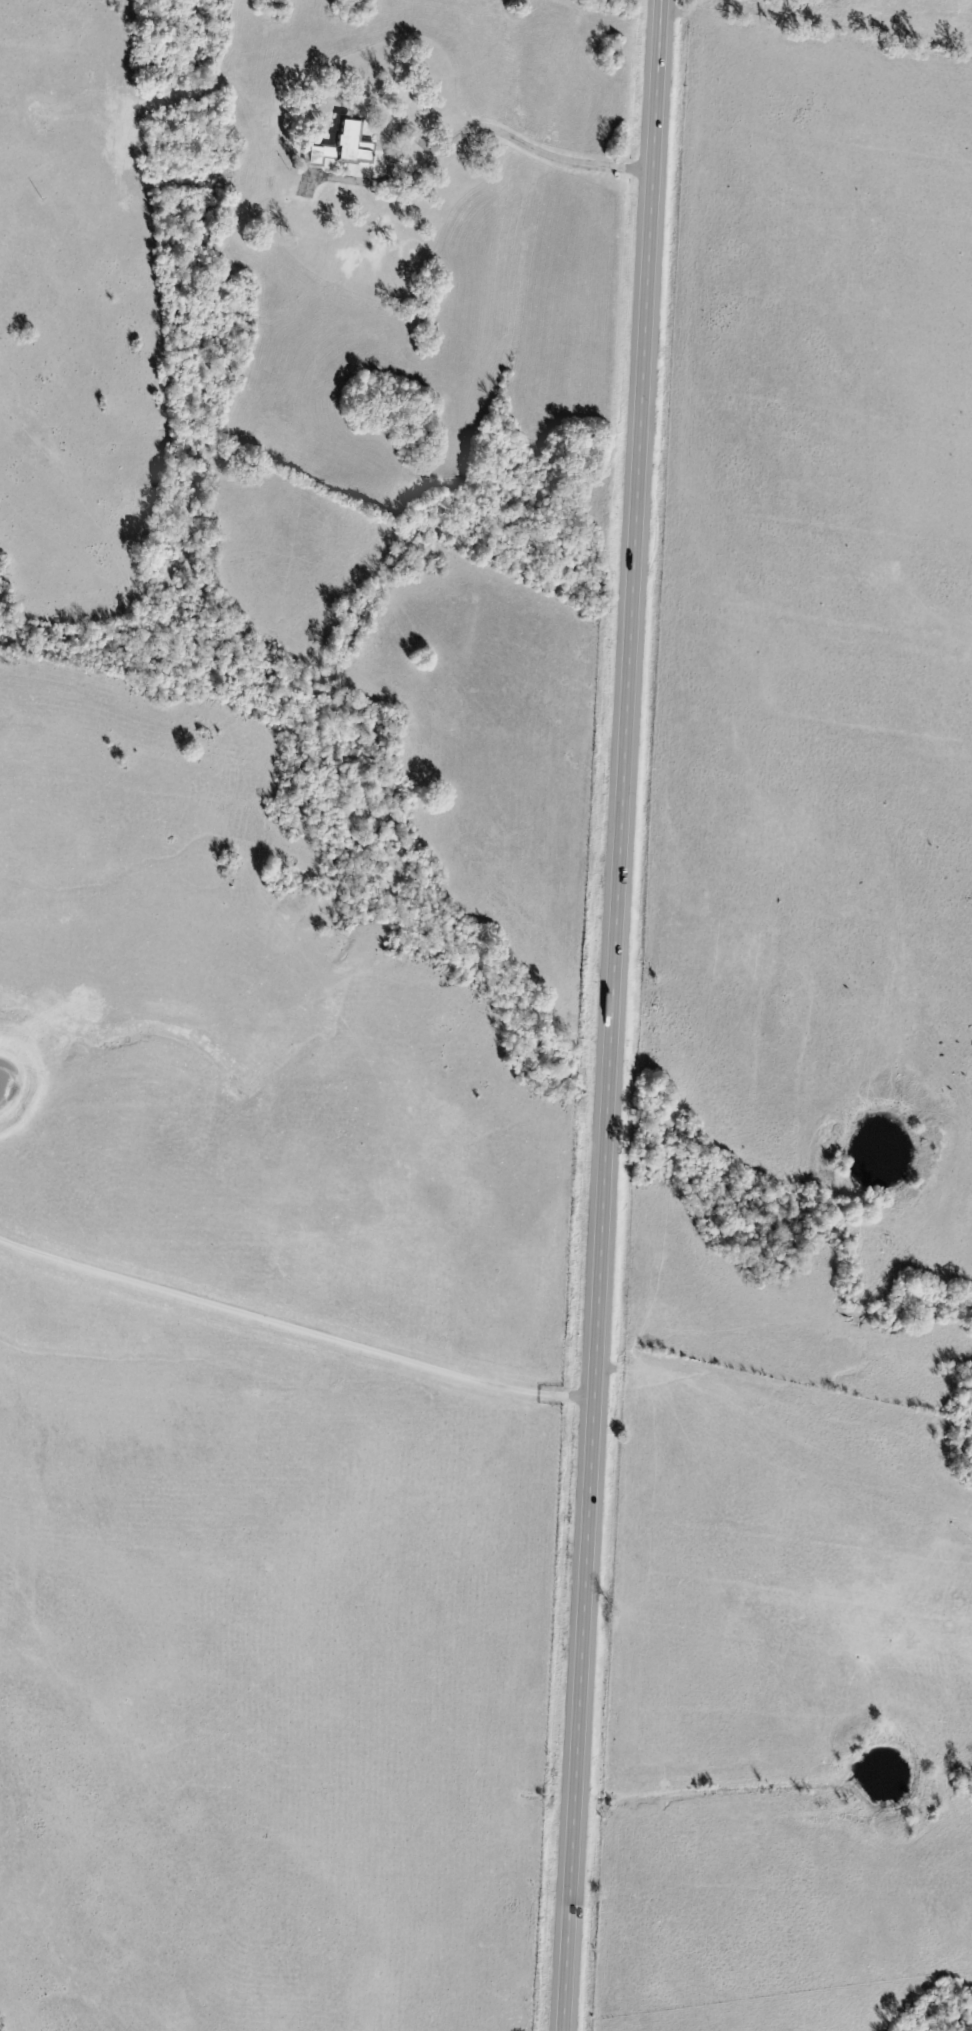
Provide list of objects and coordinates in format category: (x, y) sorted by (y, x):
building: (343, 147)
road: (614, 1015)
road: (296, 1323)

